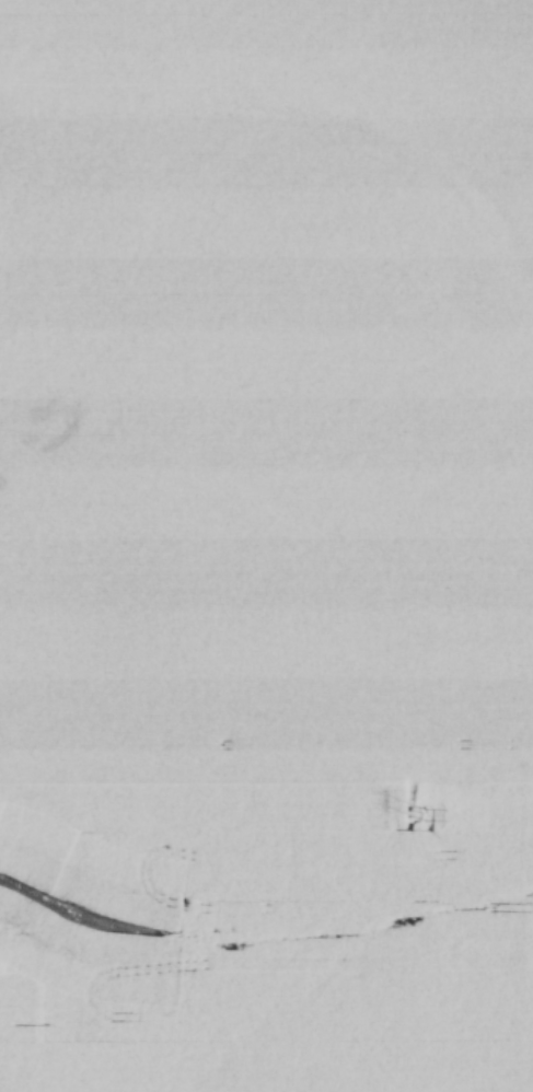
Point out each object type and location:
power tower: (424, 816)

